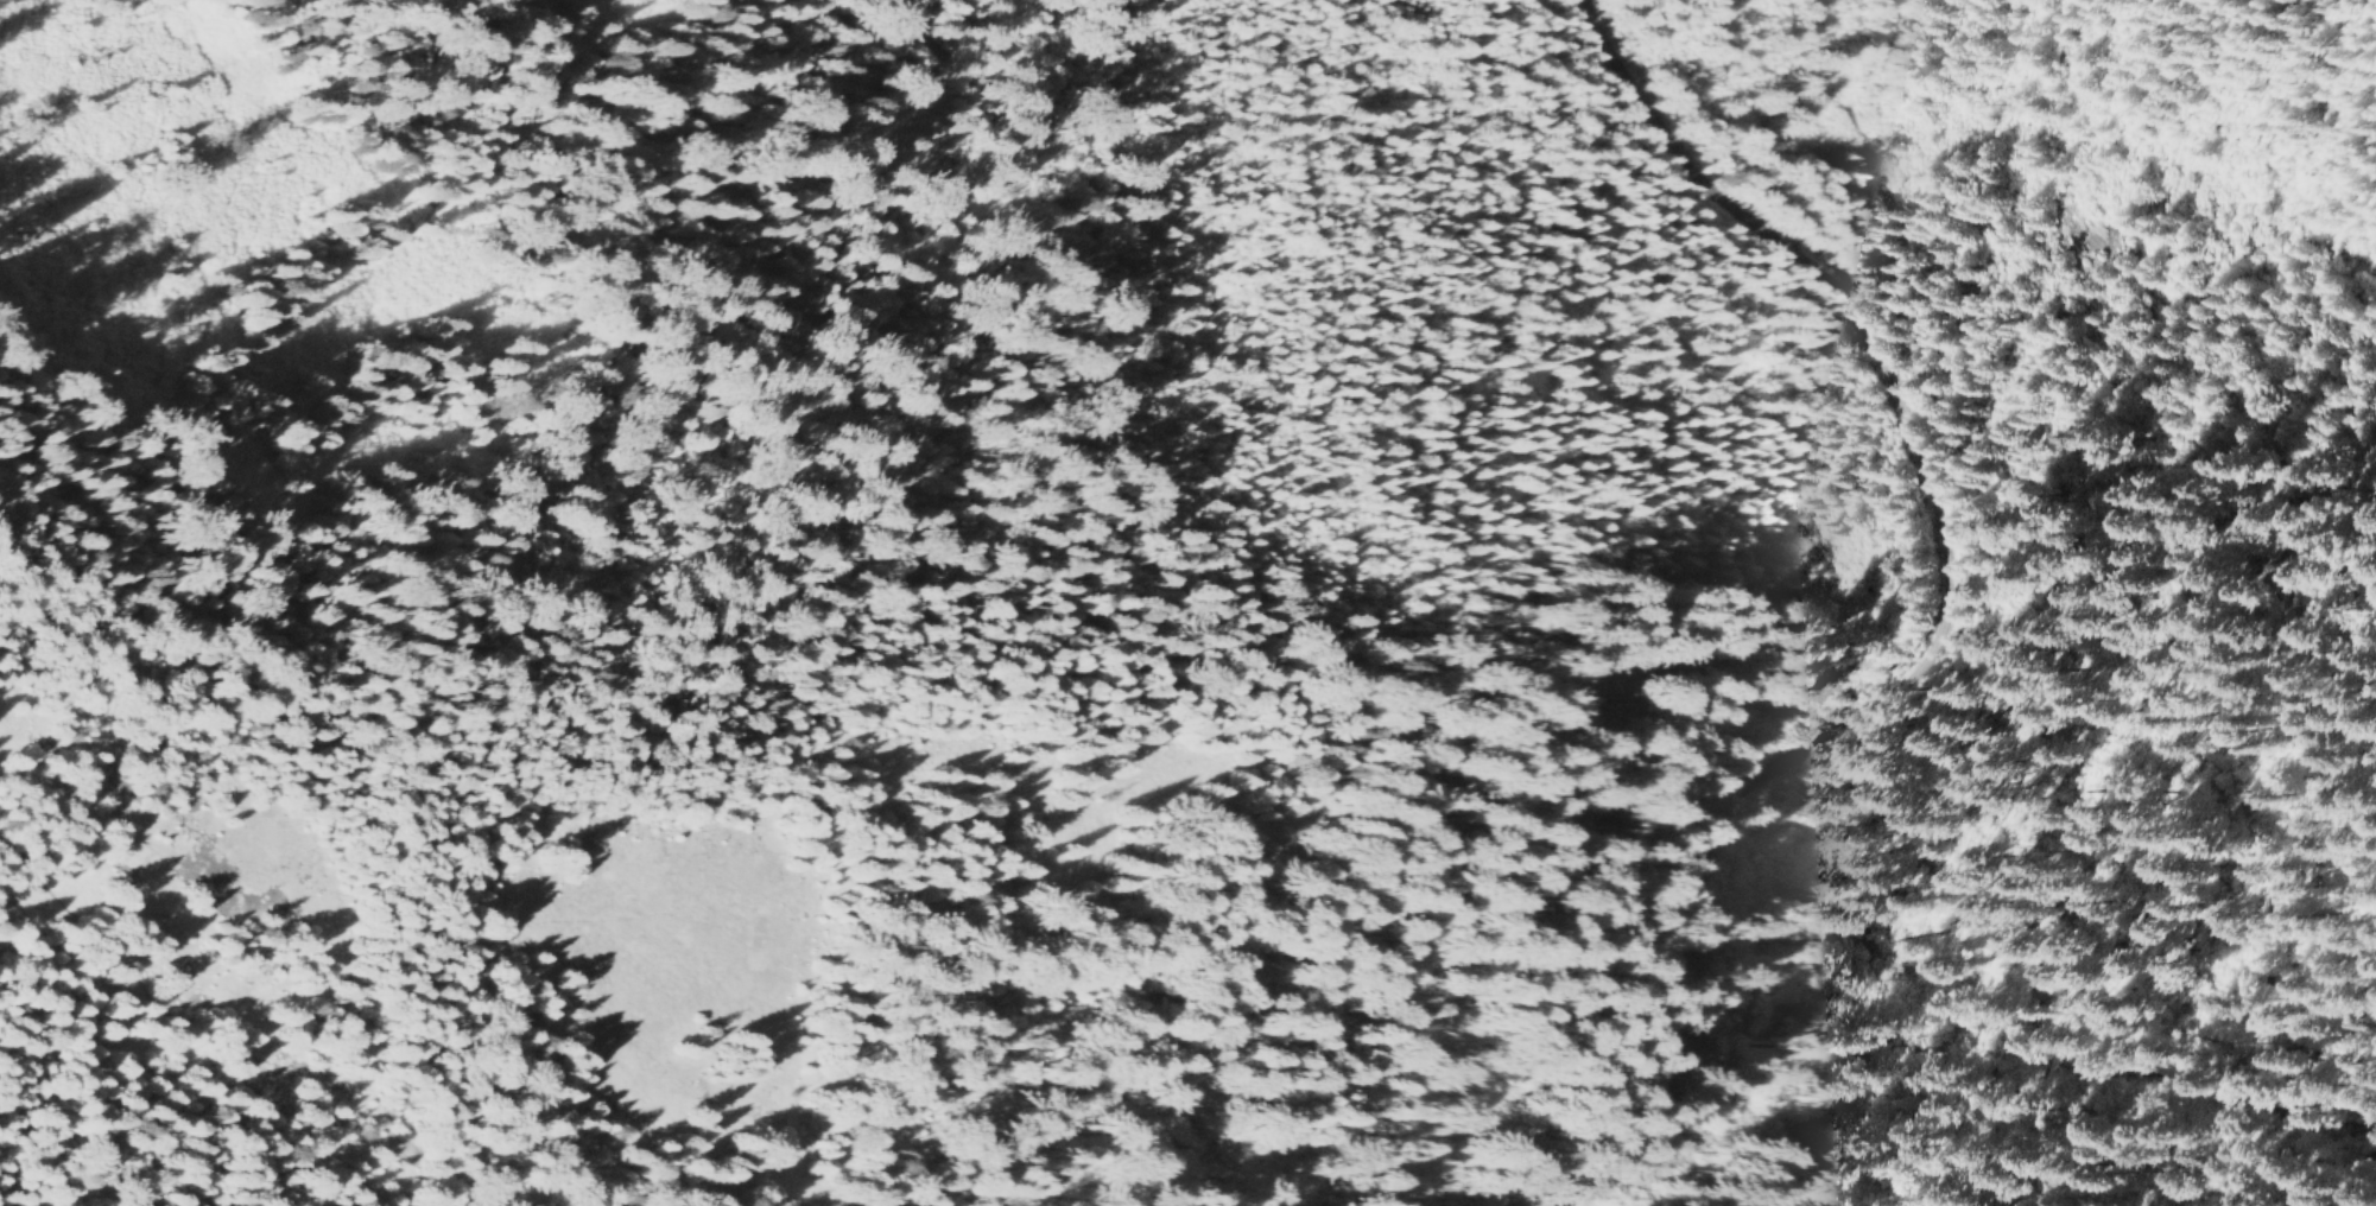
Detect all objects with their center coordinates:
road: (1927, 621)
road: (192, 1036)

